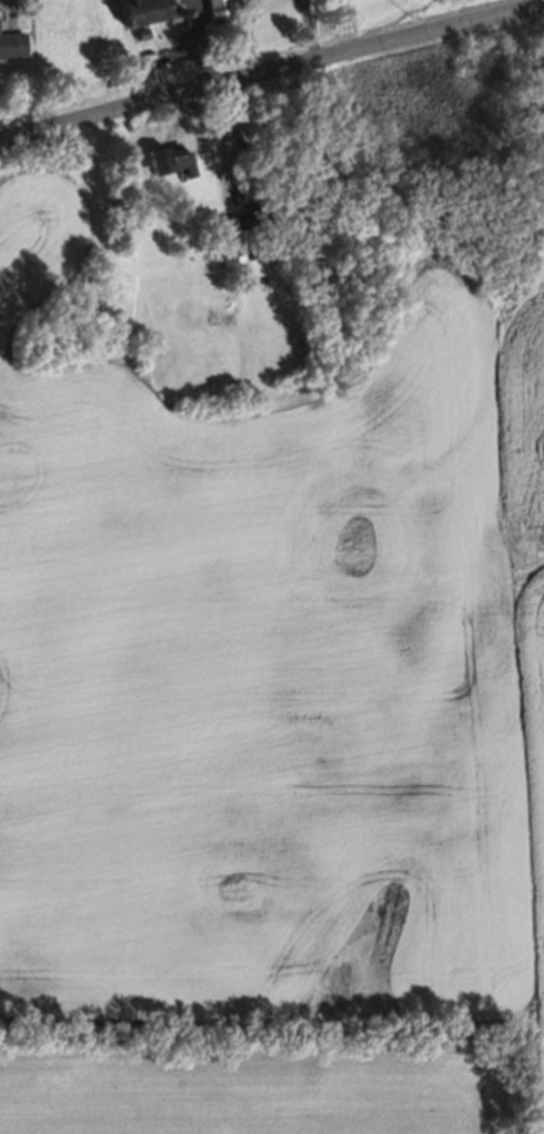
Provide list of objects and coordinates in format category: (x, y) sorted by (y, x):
building: (139, 10)
building: (219, 11)
road: (345, 27)
building: (139, 34)
building: (10, 46)
road: (272, 71)
building: (167, 158)
building: (251, 185)
building: (253, 215)
building: (263, 247)

